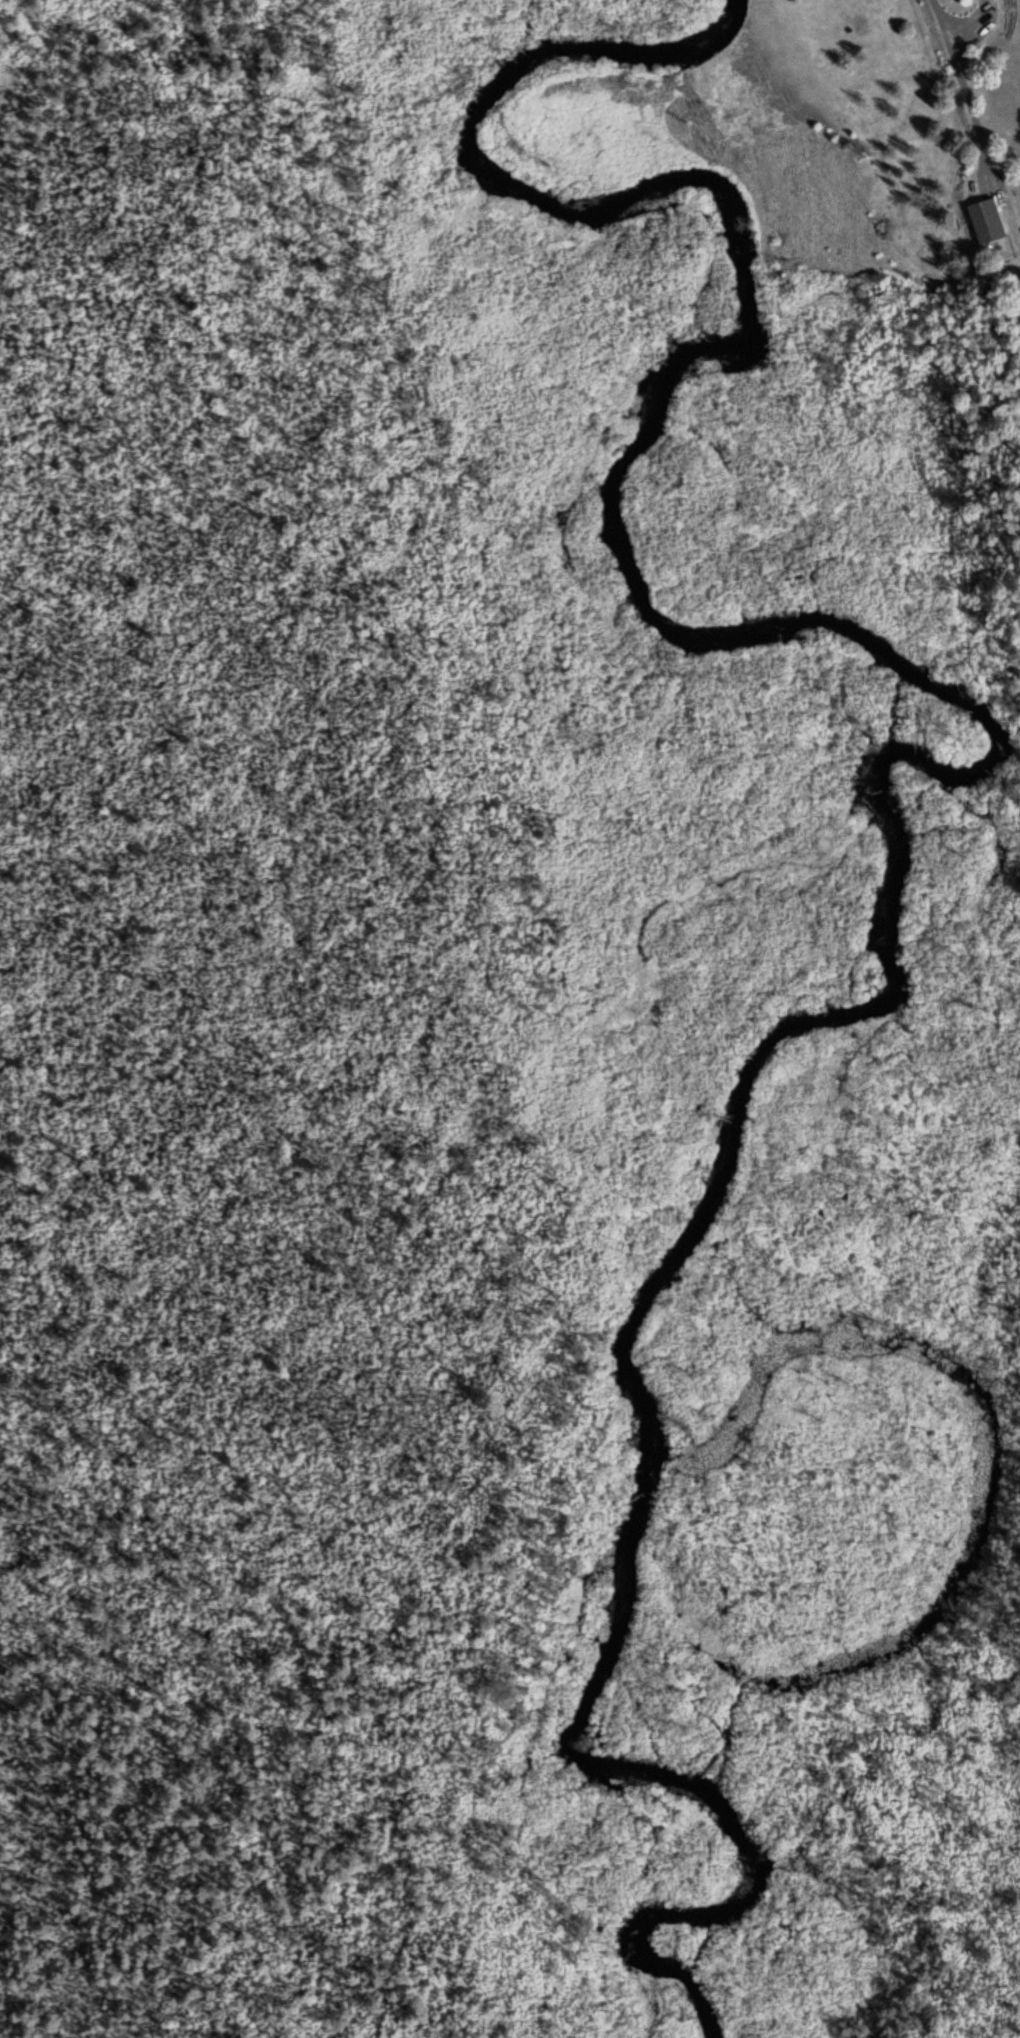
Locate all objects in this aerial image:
road: (973, 27)
road: (964, 94)
building: (985, 216)
river: (728, 1145)
river: (649, 1498)

